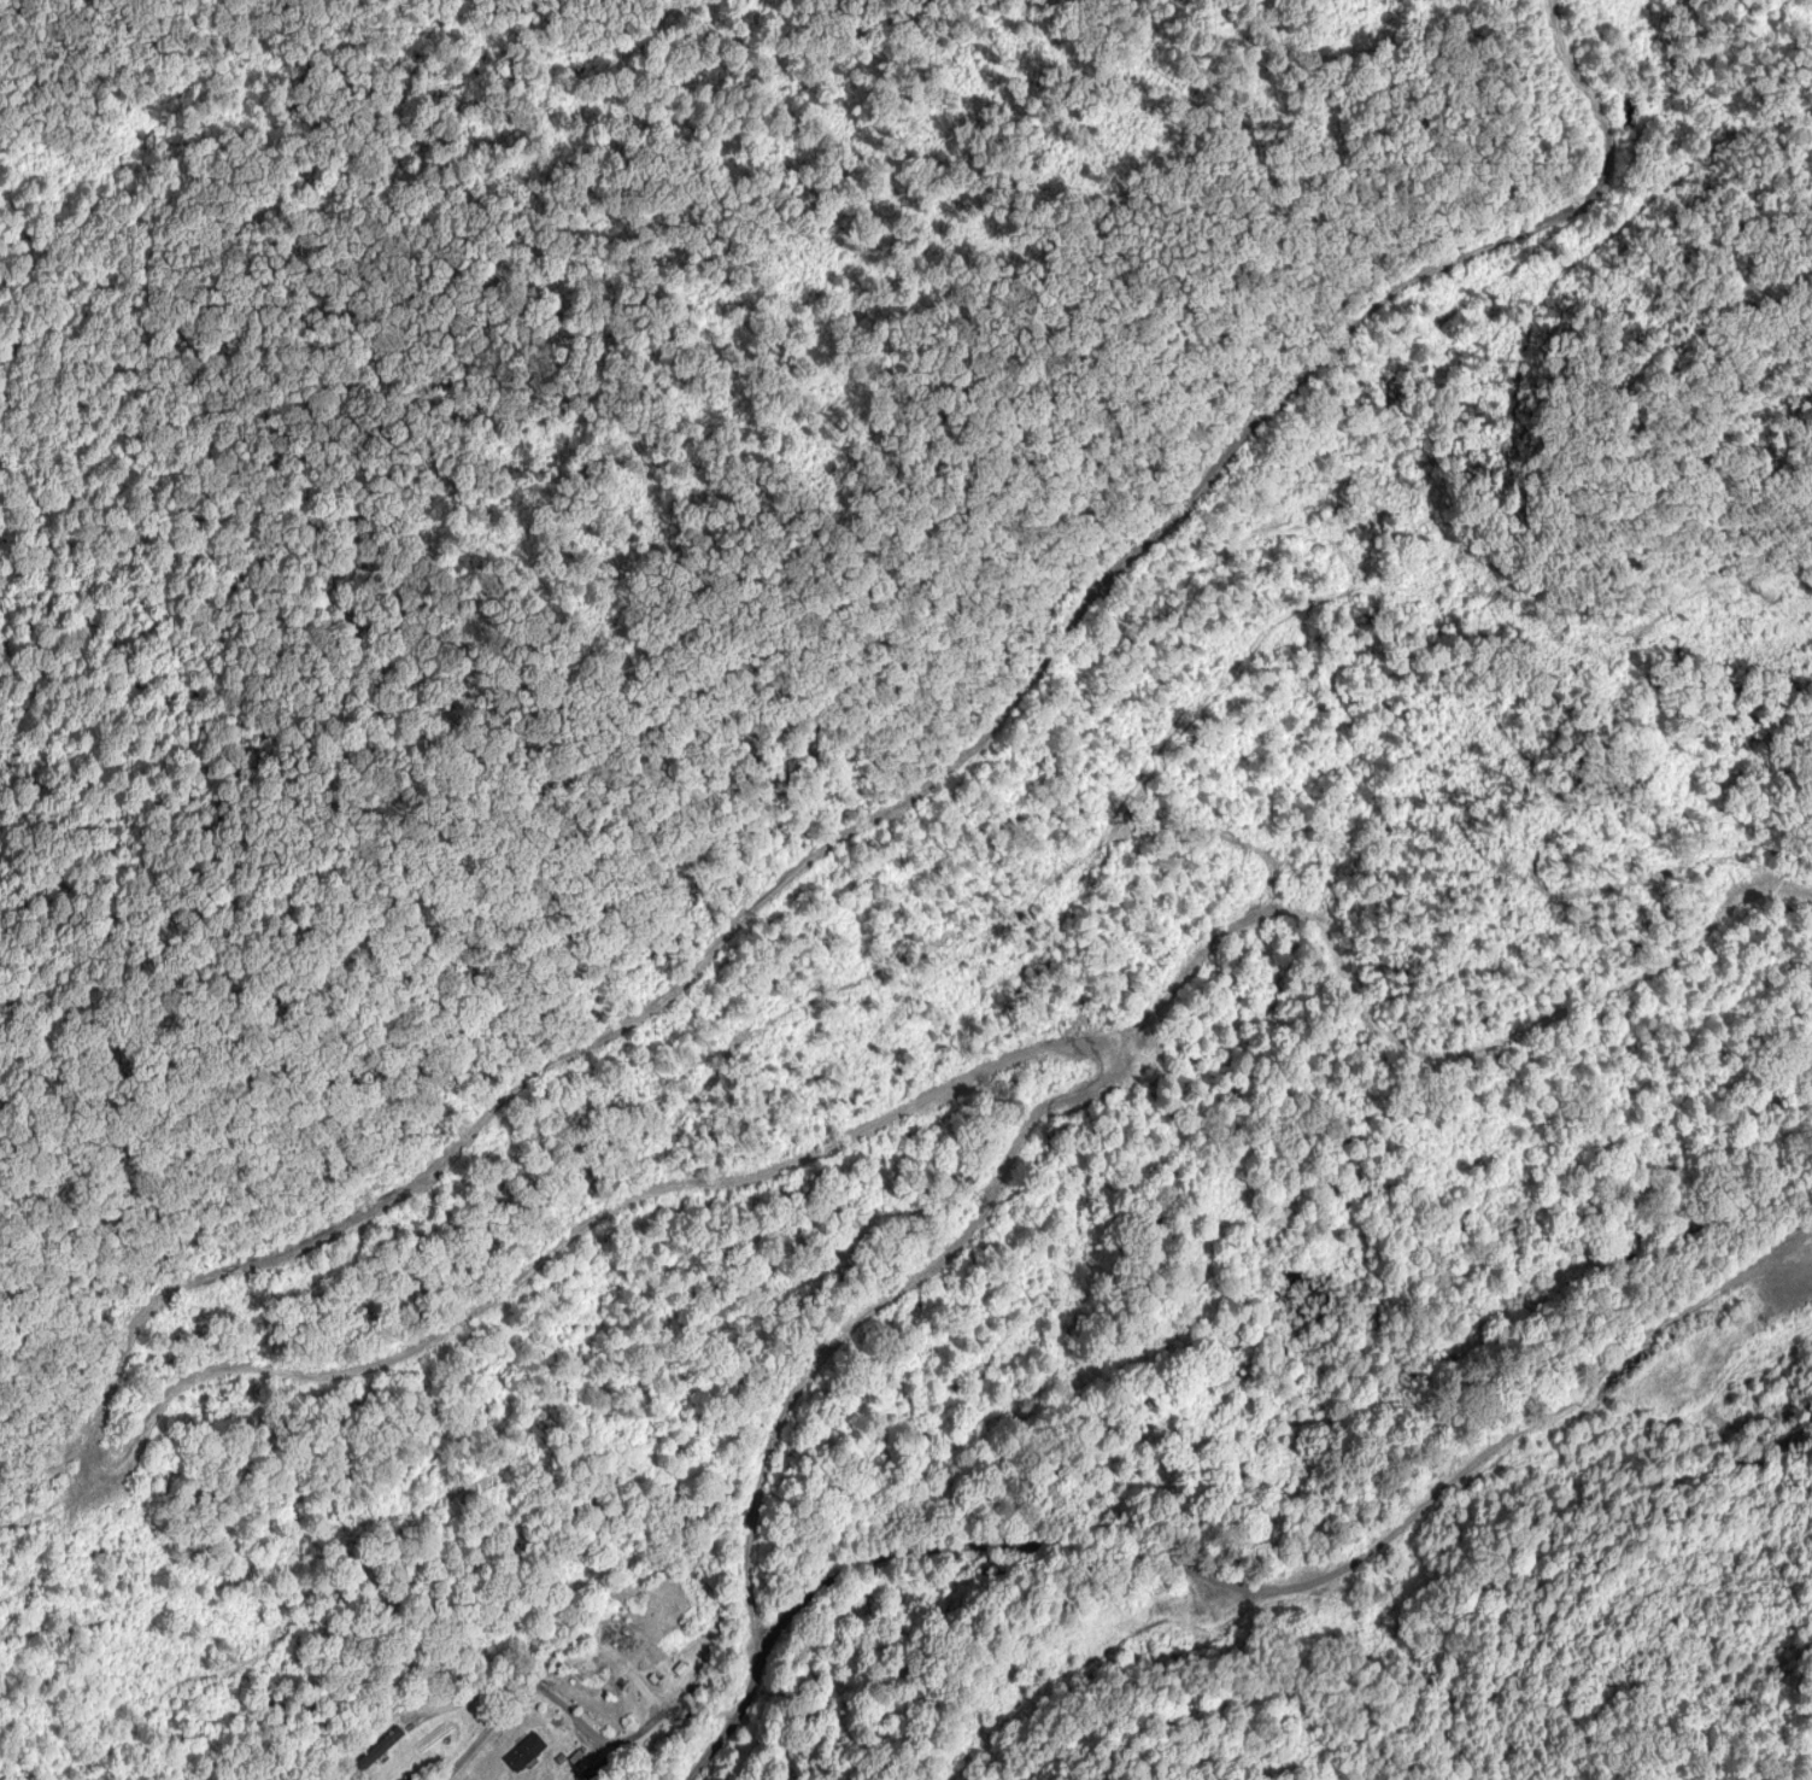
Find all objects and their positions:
road: (1256, 1589)
building: (598, 1668)
road: (653, 1699)
building: (391, 1743)
building: (527, 1752)

